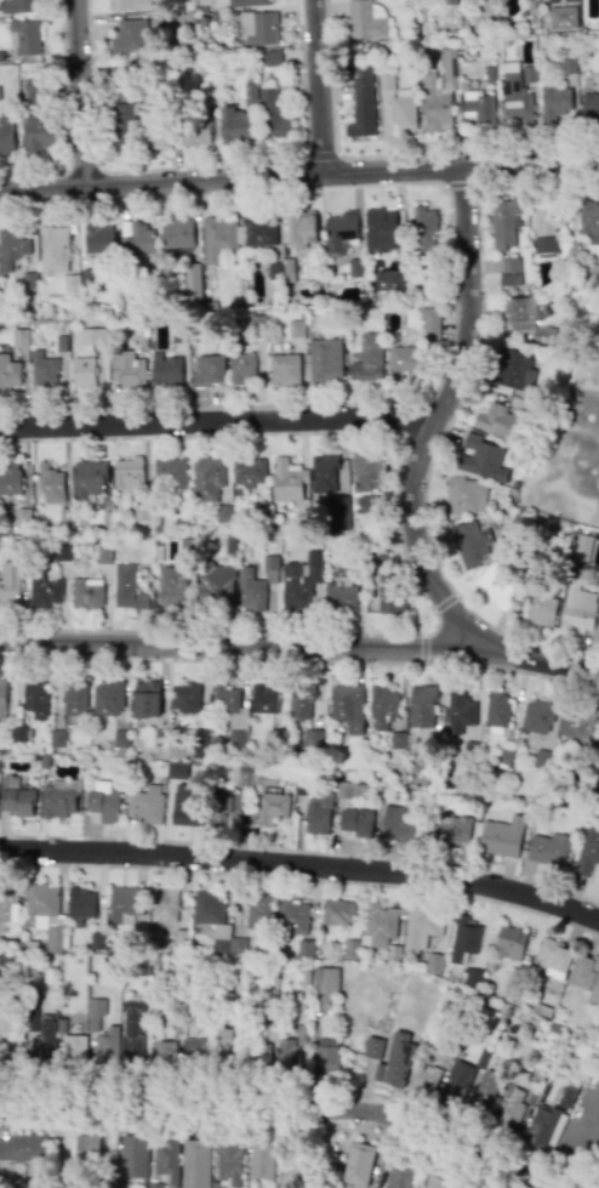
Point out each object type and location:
building: (569, 0)
building: (247, 2)
building: (130, 4)
building: (598, 4)
building: (17, 6)
building: (171, 17)
building: (366, 19)
building: (202, 21)
building: (258, 28)
building: (129, 35)
building: (23, 36)
building: (272, 57)
building: (567, 64)
building: (527, 73)
building: (125, 76)
road: (329, 76)
building: (386, 81)
road: (321, 87)
building: (32, 89)
building: (249, 92)
building: (445, 92)
road: (82, 93)
building: (209, 95)
building: (517, 98)
building: (363, 100)
building: (554, 101)
building: (479, 106)
building: (401, 107)
building: (591, 107)
building: (275, 116)
building: (122, 123)
building: (236, 125)
building: (196, 131)
building: (154, 132)
building: (38, 133)
building: (6, 136)
road: (466, 153)
road: (319, 154)
road: (194, 165)
road: (299, 176)
road: (460, 183)
building: (589, 217)
building: (503, 221)
building: (426, 227)
building: (340, 228)
building: (382, 228)
building: (544, 229)
building: (256, 231)
building: (301, 231)
building: (177, 232)
building: (98, 238)
building: (138, 238)
building: (218, 238)
building: (12, 246)
building: (53, 251)
building: (280, 267)
building: (354, 267)
building: (509, 269)
building: (390, 279)
building: (192, 280)
road: (451, 284)
building: (523, 312)
building: (428, 320)
building: (295, 328)
building: (91, 335)
building: (18, 336)
building: (367, 358)
building: (325, 359)
building: (405, 360)
building: (166, 368)
building: (241, 368)
building: (284, 368)
building: (126, 369)
building: (514, 370)
building: (45, 371)
building: (81, 371)
building: (207, 371)
building: (10, 373)
road: (453, 411)
road: (440, 417)
building: (495, 417)
road: (412, 420)
road: (219, 422)
park: (575, 437)
park: (567, 456)
building: (481, 457)
building: (249, 470)
building: (366, 470)
building: (129, 471)
building: (324, 472)
building: (170, 473)
building: (207, 477)
building: (10, 478)
building: (89, 478)
building: (286, 479)
building: (50, 483)
building: (464, 495)
building: (338, 512)
building: (21, 516)
building: (468, 541)
building: (581, 546)
building: (58, 552)
building: (102, 552)
road: (401, 552)
building: (313, 564)
building: (215, 580)
building: (10, 582)
building: (496, 584)
building: (172, 585)
building: (129, 587)
building: (292, 587)
building: (378, 587)
building: (251, 589)
building: (45, 591)
building: (86, 592)
building: (340, 593)
road: (443, 602)
building: (577, 607)
building: (541, 608)
street lamp: (432, 625)
street lamp: (500, 629)
street lamp: (192, 636)
road: (301, 647)
road: (421, 648)
street lamp: (50, 656)
road: (299, 660)
street lamp: (319, 664)
building: (184, 695)
building: (108, 697)
building: (146, 697)
building: (263, 697)
building: (2, 698)
building: (34, 699)
building: (72, 699)
building: (302, 701)
building: (229, 704)
building: (383, 704)
building: (348, 705)
building: (423, 705)
building: (496, 709)
building: (458, 710)
building: (538, 714)
building: (578, 723)
building: (17, 732)
building: (275, 734)
building: (199, 735)
building: (236, 737)
building: (313, 737)
building: (121, 738)
building: (57, 740)
building: (597, 745)
building: (469, 748)
building: (179, 750)
building: (34, 756)
building: (502, 756)
building: (44, 761)
building: (177, 769)
building: (350, 789)
building: (18, 798)
building: (104, 798)
building: (224, 798)
building: (593, 798)
building: (57, 801)
building: (268, 801)
building: (148, 802)
building: (186, 808)
building: (318, 812)
building: (356, 822)
building: (398, 824)
building: (450, 830)
building: (501, 836)
building: (548, 848)
road: (302, 851)
building: (587, 854)
road: (302, 868)
building: (80, 904)
building: (165, 904)
building: (8, 905)
building: (124, 905)
building: (44, 911)
building: (258, 911)
building: (337, 911)
building: (292, 916)
building: (216, 922)
building: (378, 925)
building: (421, 926)
building: (97, 940)
building: (463, 940)
building: (509, 942)
building: (553, 957)
building: (433, 961)
building: (473, 977)
building: (586, 977)
building: (325, 979)
building: (95, 1012)
building: (5, 1017)
building: (30, 1023)
building: (131, 1029)
building: (224, 1036)
building: (42, 1040)
building: (105, 1046)
building: (372, 1047)
building: (73, 1050)
building: (162, 1050)
building: (192, 1050)
building: (259, 1053)
building: (287, 1053)
building: (326, 1055)
building: (394, 1061)
building: (423, 1079)
building: (457, 1081)
building: (486, 1092)
building: (567, 1095)
road: (290, 1108)
building: (510, 1109)
road: (266, 1125)
building: (543, 1126)
road: (574, 1132)
building: (86, 1146)
building: (23, 1148)
parking lot: (594, 1155)
building: (133, 1159)
building: (166, 1159)
building: (261, 1161)
building: (195, 1164)
building: (359, 1164)
building: (228, 1165)
building: (399, 1176)
building: (437, 1182)

